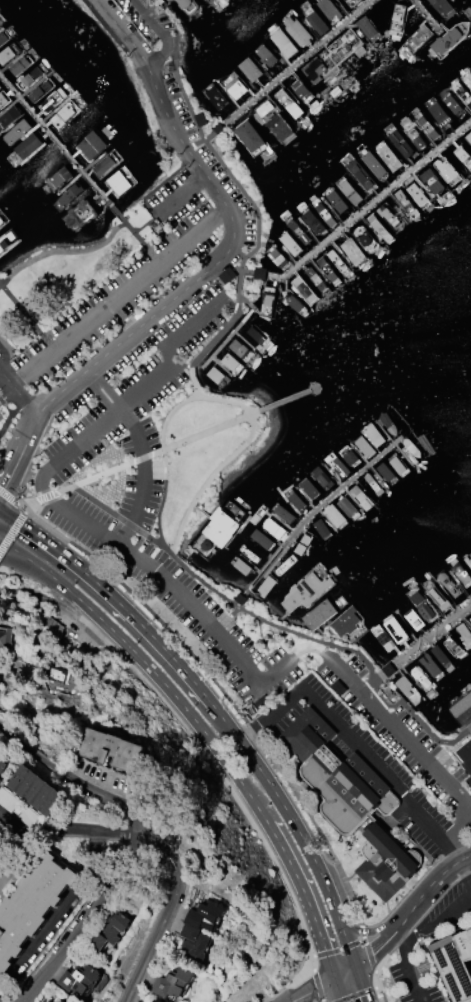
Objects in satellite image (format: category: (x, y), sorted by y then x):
building: (351, 2)
building: (188, 6)
building: (442, 8)
building: (329, 9)
pier: (426, 15)
building: (397, 18)
building: (314, 19)
parking lot: (136, 24)
building: (367, 27)
building: (296, 29)
road: (163, 32)
building: (3, 36)
building: (417, 38)
building: (449, 38)
building: (282, 41)
building: (9, 51)
building: (265, 55)
pier: (296, 63)
building: (20, 64)
building: (249, 68)
road: (148, 70)
building: (31, 76)
building: (467, 78)
building: (234, 85)
building: (40, 89)
building: (301, 90)
building: (462, 93)
building: (215, 96)
building: (3, 99)
building: (52, 99)
building: (451, 102)
building: (288, 103)
building: (65, 112)
building: (439, 113)
building: (9, 116)
building: (273, 120)
building: (427, 126)
building: (16, 131)
building: (414, 136)
building: (468, 136)
building: (249, 137)
building: (399, 142)
pier: (60, 146)
building: (92, 146)
building: (26, 147)
building: (463, 155)
building: (388, 157)
building: (373, 164)
building: (105, 165)
building: (447, 169)
building: (359, 174)
building: (58, 177)
building: (118, 181)
building: (432, 181)
building: (349, 192)
road: (179, 194)
building: (68, 195)
building: (417, 196)
building: (335, 201)
building: (405, 203)
pier: (369, 204)
road: (258, 212)
building: (323, 212)
building: (80, 214)
building: (389, 216)
building: (2, 220)
building: (310, 221)
building: (379, 227)
building: (297, 230)
building: (364, 239)
road: (140, 240)
building: (7, 241)
building: (289, 243)
road: (62, 250)
building: (353, 251)
building: (278, 257)
building: (338, 262)
building: (327, 269)
road: (253, 272)
building: (259, 273)
building: (315, 279)
building: (303, 289)
road: (119, 296)
road: (175, 297)
building: (266, 300)
building: (294, 302)
road: (27, 317)
building: (256, 333)
building: (240, 347)
building: (230, 362)
road: (161, 374)
building: (216, 374)
road: (103, 389)
road: (17, 391)
road: (7, 394)
pier: (284, 401)
building: (416, 405)
road: (168, 414)
road: (13, 416)
building: (387, 423)
road: (207, 431)
building: (373, 434)
building: (421, 435)
building: (363, 446)
building: (411, 447)
road: (17, 450)
building: (349, 455)
road: (230, 459)
road: (164, 463)
building: (397, 464)
building: (336, 465)
road: (116, 467)
building: (386, 473)
road: (143, 475)
building: (321, 478)
building: (371, 484)
traffic signals: (1, 487)
building: (308, 488)
building: (360, 497)
building: (295, 499)
road: (95, 501)
pier: (321, 504)
building: (346, 505)
building: (282, 512)
building: (334, 515)
traffic signals: (21, 524)
building: (275, 527)
building: (323, 527)
building: (218, 528)
road: (12, 530)
building: (261, 539)
building: (301, 543)
road: (14, 549)
building: (248, 553)
road: (14, 555)
building: (468, 559)
building: (285, 564)
building: (239, 565)
road: (147, 567)
building: (461, 574)
building: (447, 583)
building: (266, 584)
building: (307, 588)
building: (436, 594)
road: (114, 598)
road: (241, 598)
building: (422, 602)
road: (91, 610)
building: (318, 614)
building: (469, 618)
building: (345, 620)
building: (413, 620)
building: (397, 629)
building: (464, 633)
building: (4, 638)
building: (383, 638)
pier: (425, 639)
building: (452, 647)
road: (306, 648)
building: (440, 655)
building: (429, 665)
building: (422, 680)
road: (373, 682)
building: (409, 689)
building: (461, 706)
road: (240, 711)
building: (438, 717)
road: (206, 735)
road: (355, 740)
road: (414, 748)
building: (111, 749)
road: (245, 749)
building: (466, 757)
building: (2, 764)
building: (34, 789)
building: (7, 799)
building: (351, 801)
road: (72, 827)
road: (152, 834)
road: (469, 867)
road: (322, 876)
road: (302, 890)
building: (31, 905)
road: (405, 912)
building: (204, 914)
road: (87, 917)
road: (435, 923)
building: (110, 929)
road: (364, 931)
building: (193, 941)
road: (344, 945)
traffic signals: (324, 949)
traffic signals: (372, 954)
road: (406, 964)
building: (454, 964)
building: (78, 978)
building: (172, 982)
road: (361, 983)
road: (317, 988)
traffic signals: (315, 989)
road: (339, 990)
road: (361, 992)
traffic signals: (365, 994)
building: (155, 1000)
building: (49, 1001)
building: (61, 1001)

